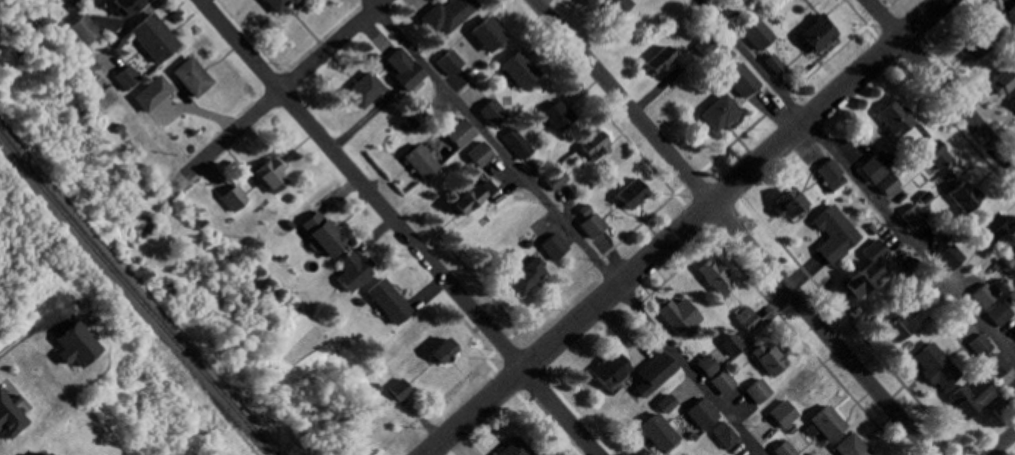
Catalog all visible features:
road: (965, 82)
road: (941, 84)
road: (275, 94)
road: (930, 95)
road: (855, 182)
road: (401, 227)
road: (683, 227)
road: (733, 227)
road: (565, 228)
railway: (137, 295)
road: (1000, 442)

